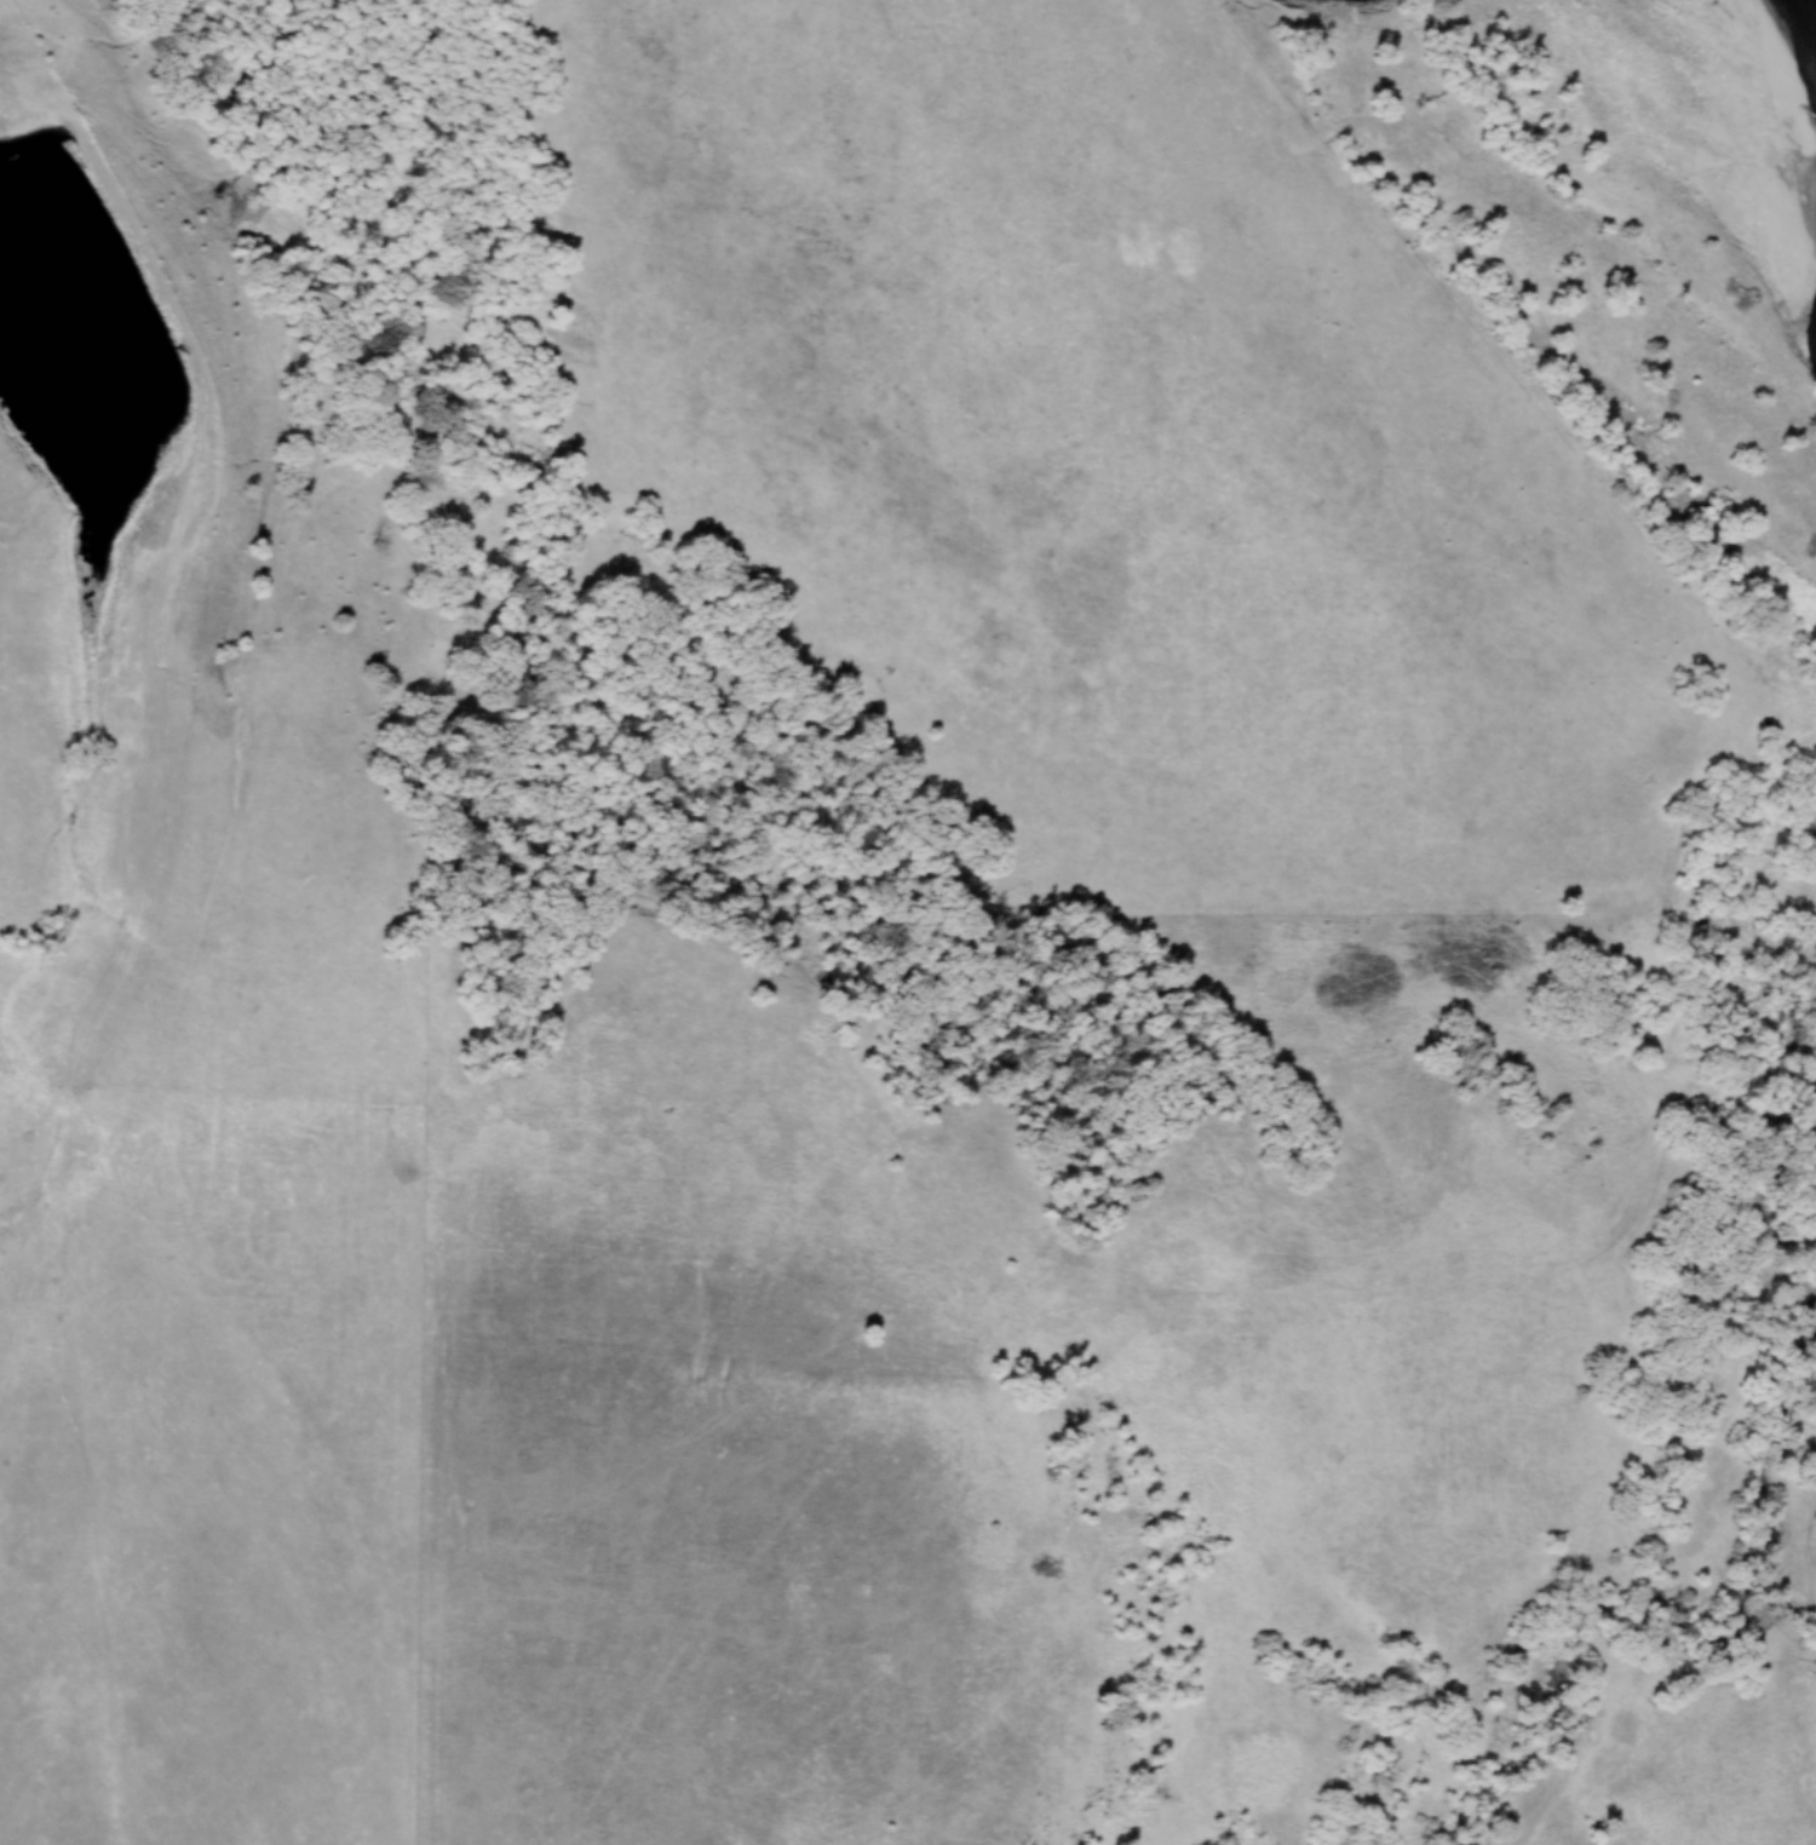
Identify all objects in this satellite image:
river: (1759, 146)

